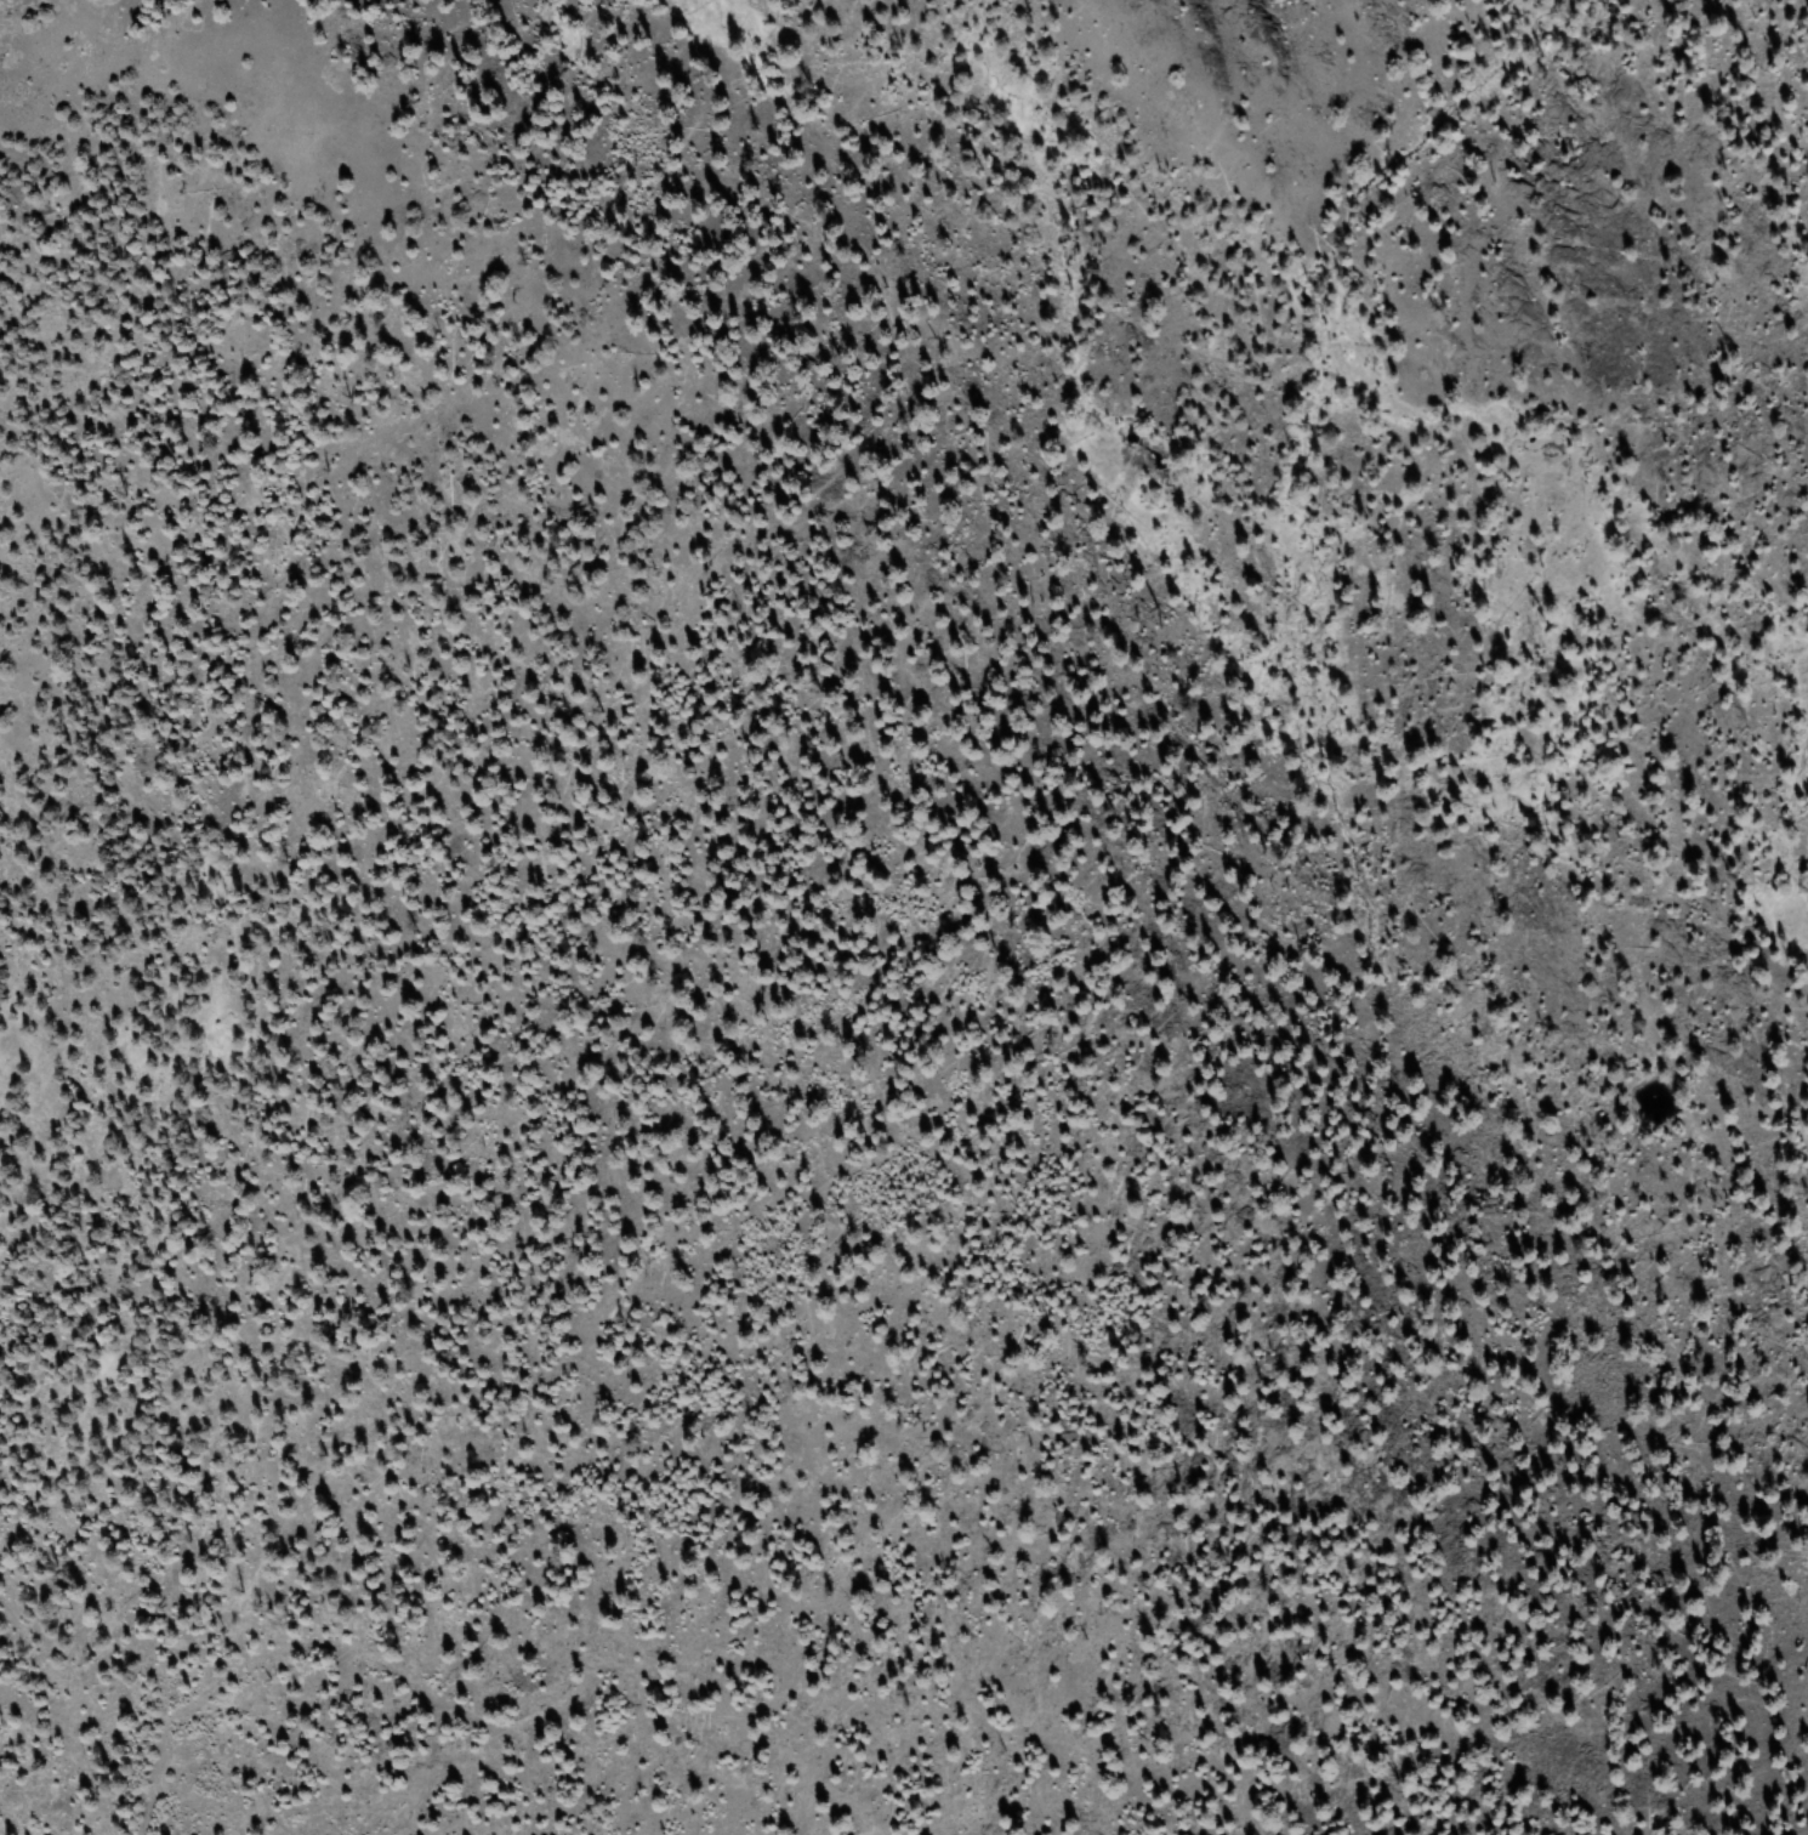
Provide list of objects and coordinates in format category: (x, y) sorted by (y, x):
road: (157, 1830)

